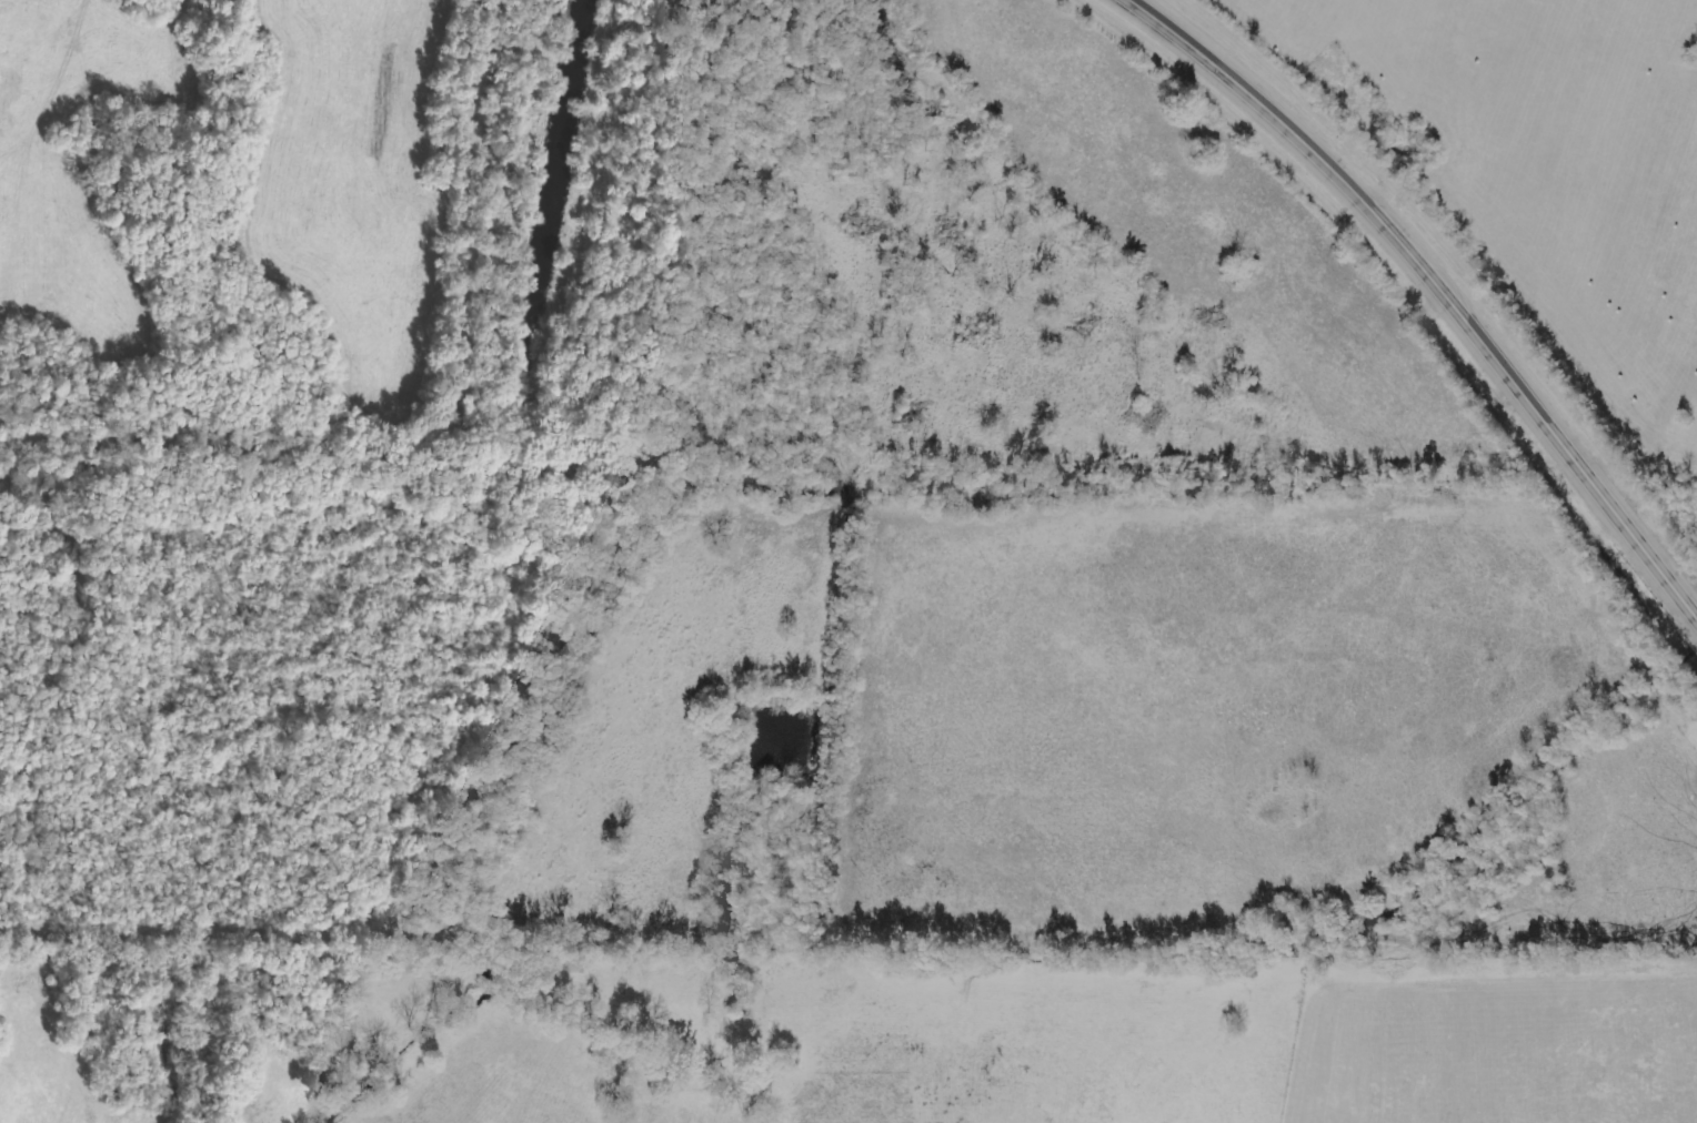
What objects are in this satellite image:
railway: (1455, 272)
road: (1439, 285)

